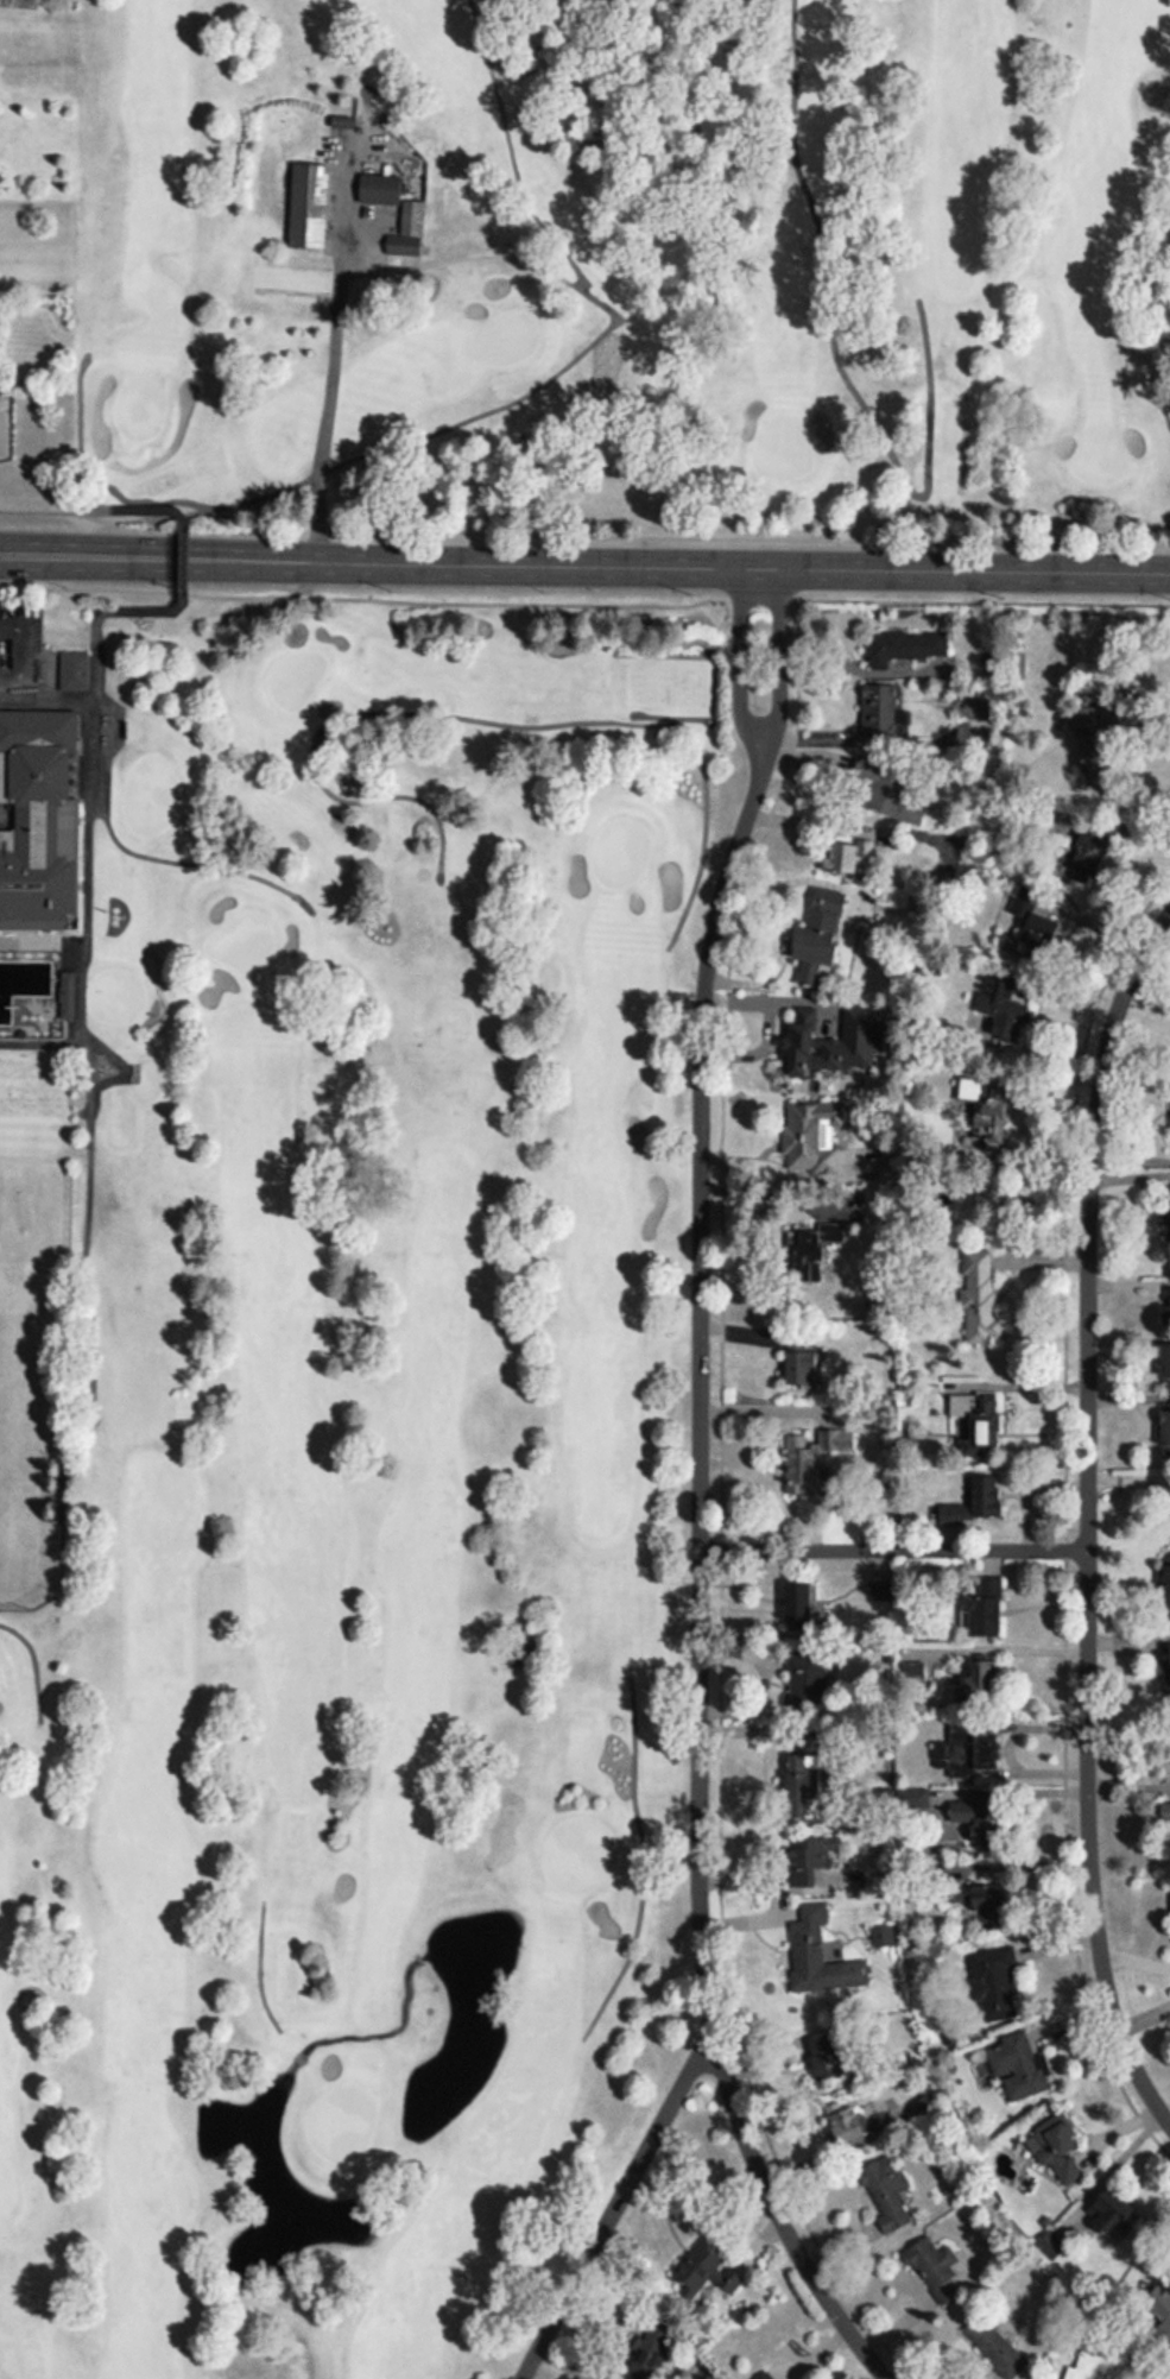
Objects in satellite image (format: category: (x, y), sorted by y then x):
building: (342, 121)
building: (379, 189)
building: (306, 206)
building: (411, 216)
building: (403, 245)
park: (590, 279)
road: (340, 285)
road: (614, 313)
road: (835, 358)
road: (78, 438)
road: (584, 563)
road: (5, 643)
building: (903, 645)
road: (733, 652)
road: (773, 652)
road: (855, 668)
building: (76, 674)
road: (1098, 702)
road: (1157, 707)
building: (978, 708)
road: (495, 711)
building: (880, 713)
building: (1080, 718)
road: (864, 738)
road: (795, 757)
building: (1093, 757)
building: (885, 789)
building: (26, 813)
road: (811, 822)
road: (177, 856)
building: (847, 859)
road: (67, 872)
building: (1035, 934)
road: (780, 935)
building: (818, 938)
road: (750, 997)
building: (69, 998)
building: (1005, 1016)
building: (829, 1043)
road: (750, 1047)
road: (90, 1065)
road: (95, 1103)
building: (992, 1128)
building: (812, 1137)
building: (809, 1250)
road: (83, 1255)
building: (979, 1298)
building: (1166, 1314)
building: (799, 1362)
building: (1166, 1364)
building: (979, 1415)
building: (1165, 1428)
building: (809, 1457)
park: (358, 1484)
building: (975, 1506)
road: (1088, 1520)
road: (893, 1551)
building: (1166, 1559)
road: (700, 1572)
building: (796, 1602)
building: (985, 1610)
building: (521, 1648)
road: (33, 1665)
building: (1166, 1670)
building: (808, 1678)
road: (766, 1679)
building: (985, 1683)
building: (968, 1753)
building: (801, 1784)
building: (1166, 1828)
road: (84, 1834)
building: (807, 1857)
road: (643, 1864)
building: (988, 1910)
building: (885, 1939)
building: (817, 1952)
road: (259, 1970)
building: (991, 1986)
building: (912, 2044)
building: (827, 2052)
building: (1017, 2065)
building: (931, 2103)
building: (847, 2120)
building: (1063, 2148)
building: (883, 2188)
road: (616, 2203)
building: (1113, 2213)
building: (703, 2265)
building: (930, 2266)
building: (1160, 2310)
building: (993, 2345)
building: (651, 2349)
building: (1099, 2366)
building: (763, 2375)
building: (1169, 2375)
building: (770, 2377)

